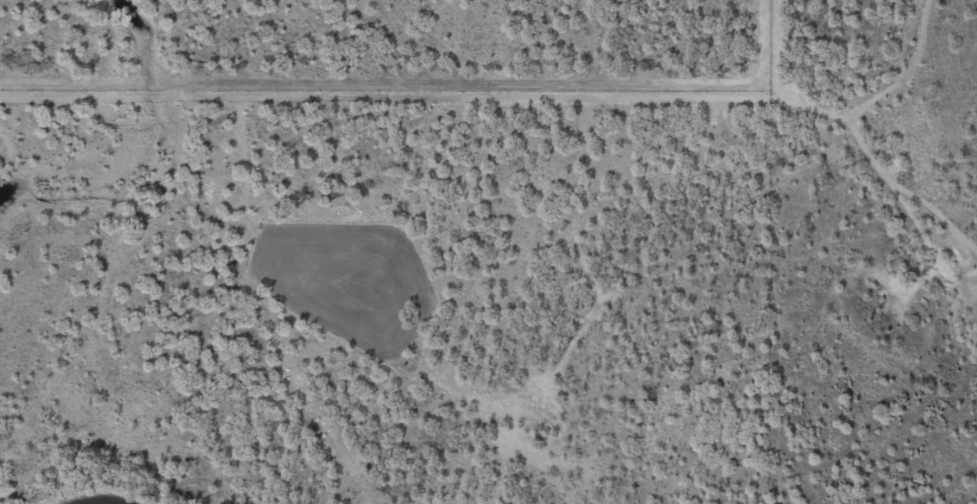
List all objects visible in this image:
road: (888, 72)
road: (545, 120)

